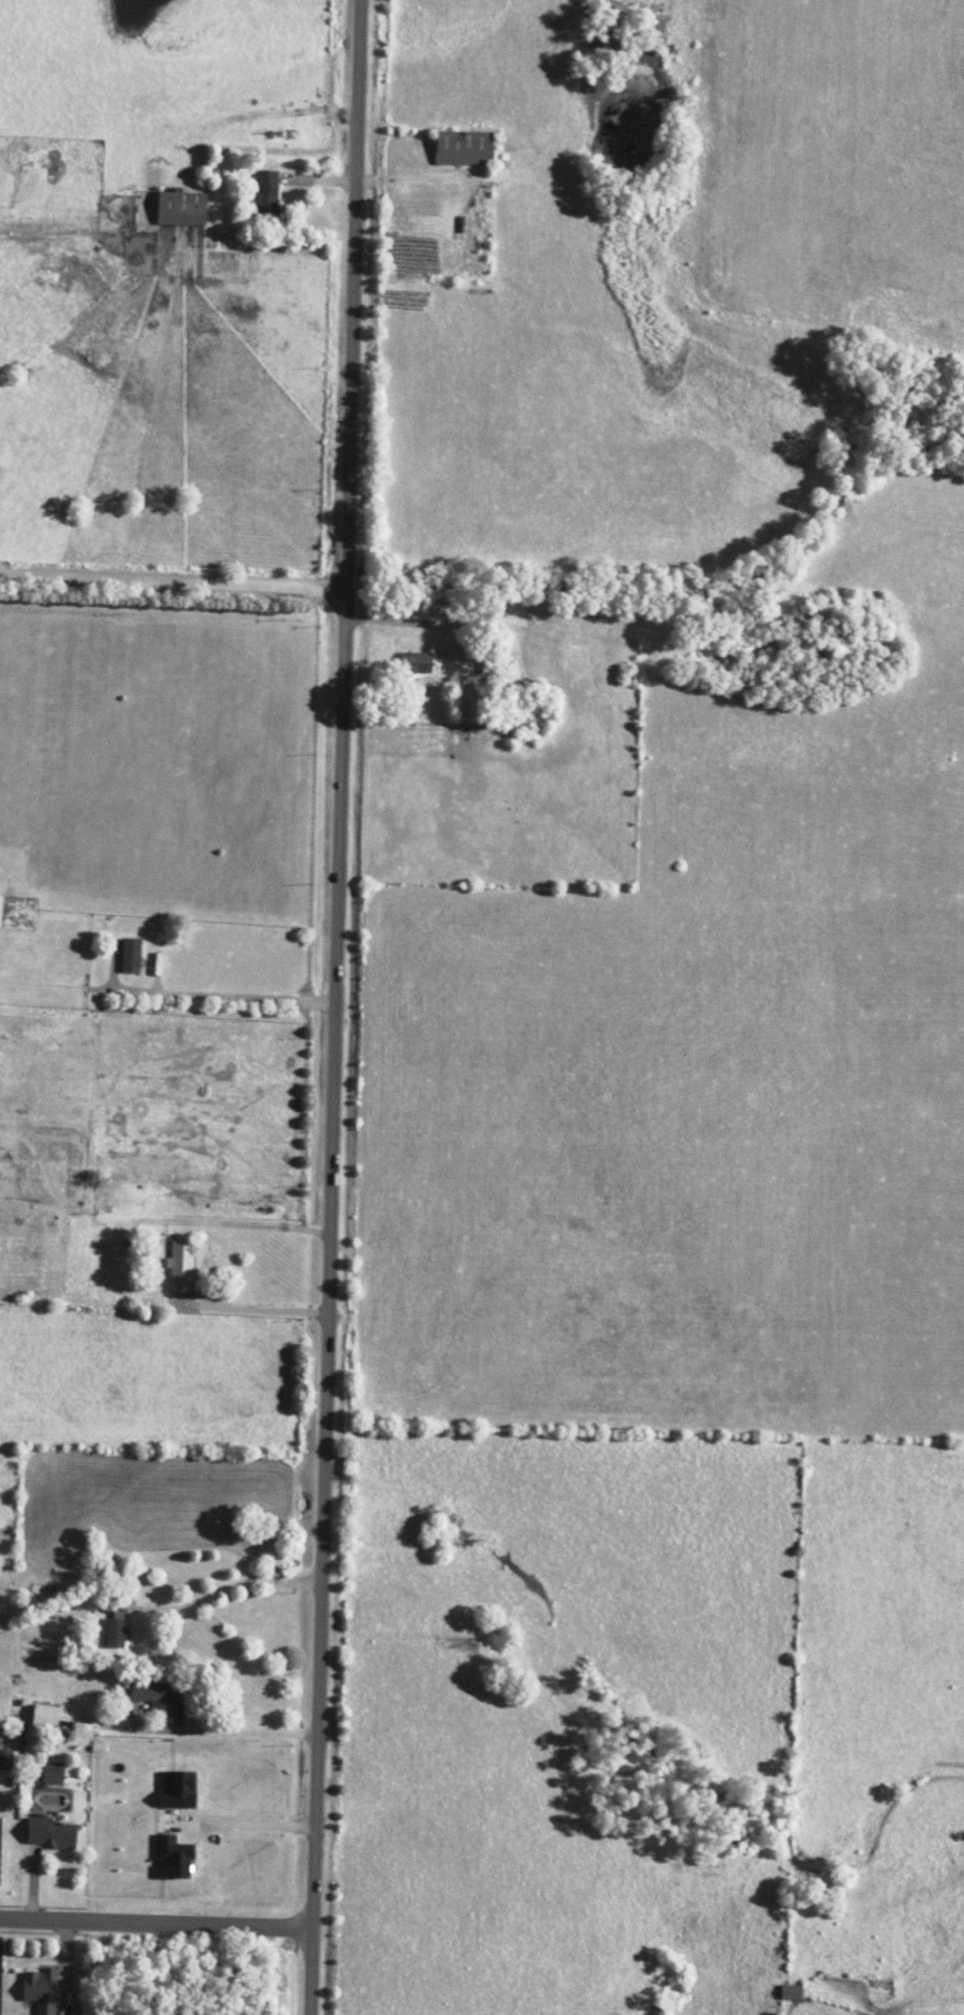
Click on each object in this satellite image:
building: (462, 148)
building: (264, 193)
building: (180, 209)
road: (176, 589)
building: (415, 663)
building: (0, 902)
building: (129, 956)
road: (341, 1007)
building: (179, 1266)
building: (114, 1633)
building: (158, 1701)
building: (43, 1716)
building: (7, 1760)
building: (51, 1773)
building: (177, 1791)
road: (248, 1824)
building: (48, 1834)
building: (172, 1857)
road: (159, 1924)
building: (39, 1990)

